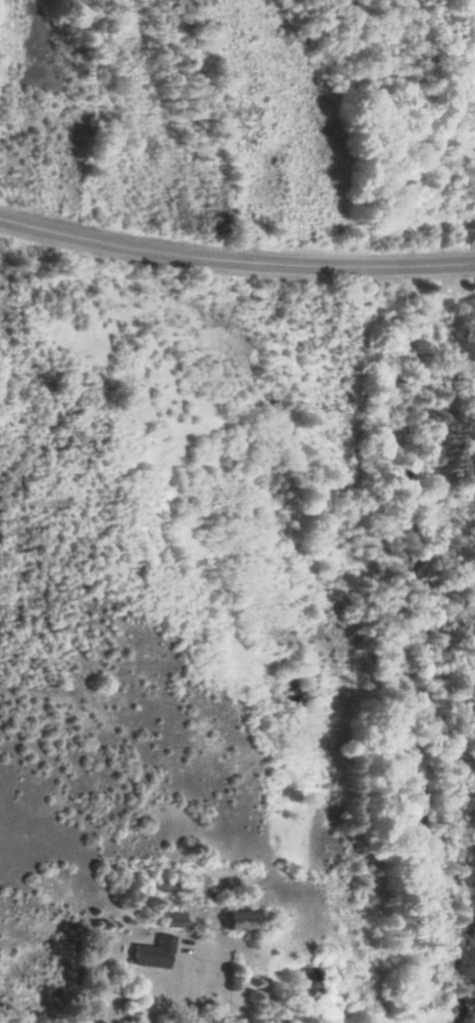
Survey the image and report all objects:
road: (235, 259)
building: (237, 921)
building: (140, 959)

